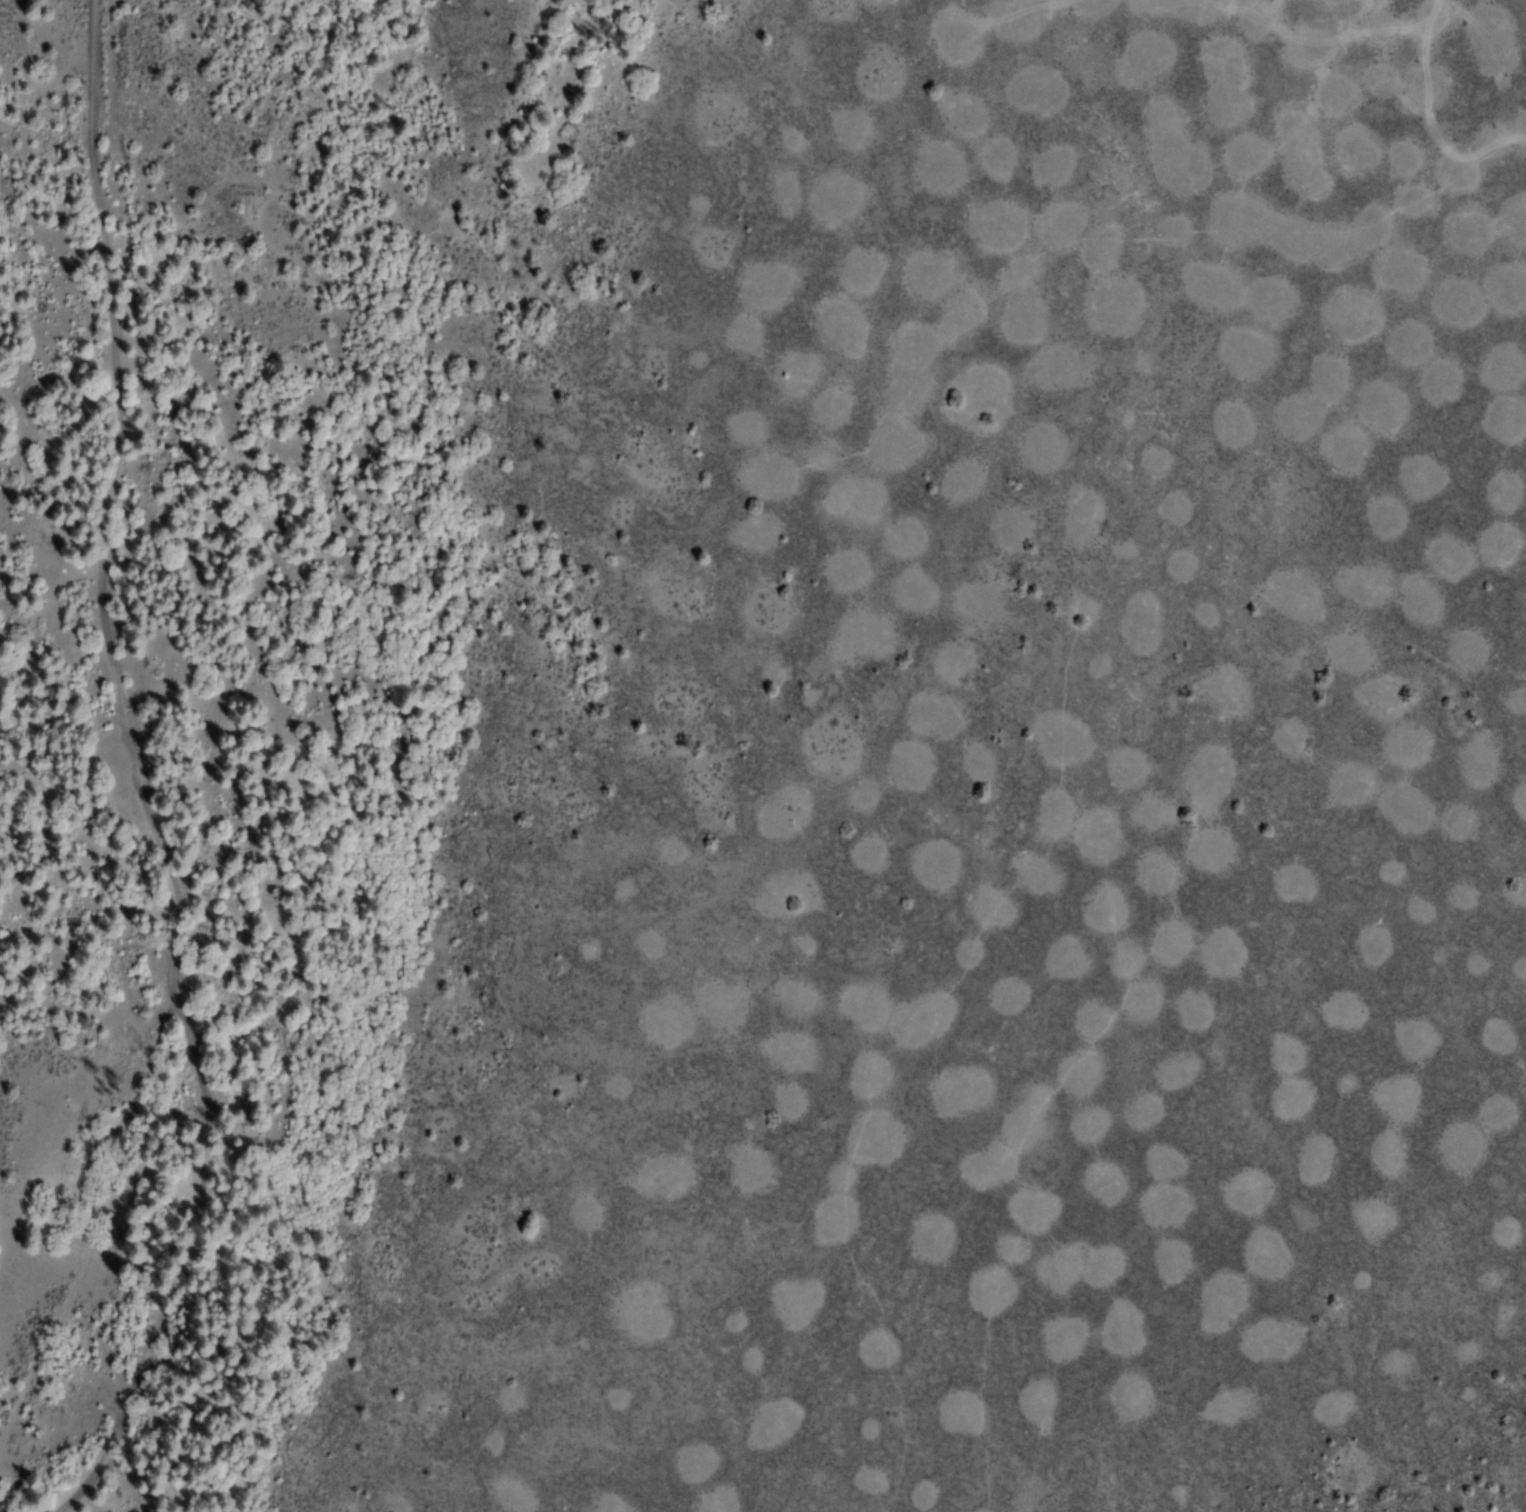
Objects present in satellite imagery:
road: (217, 733)
road: (63, 1481)

